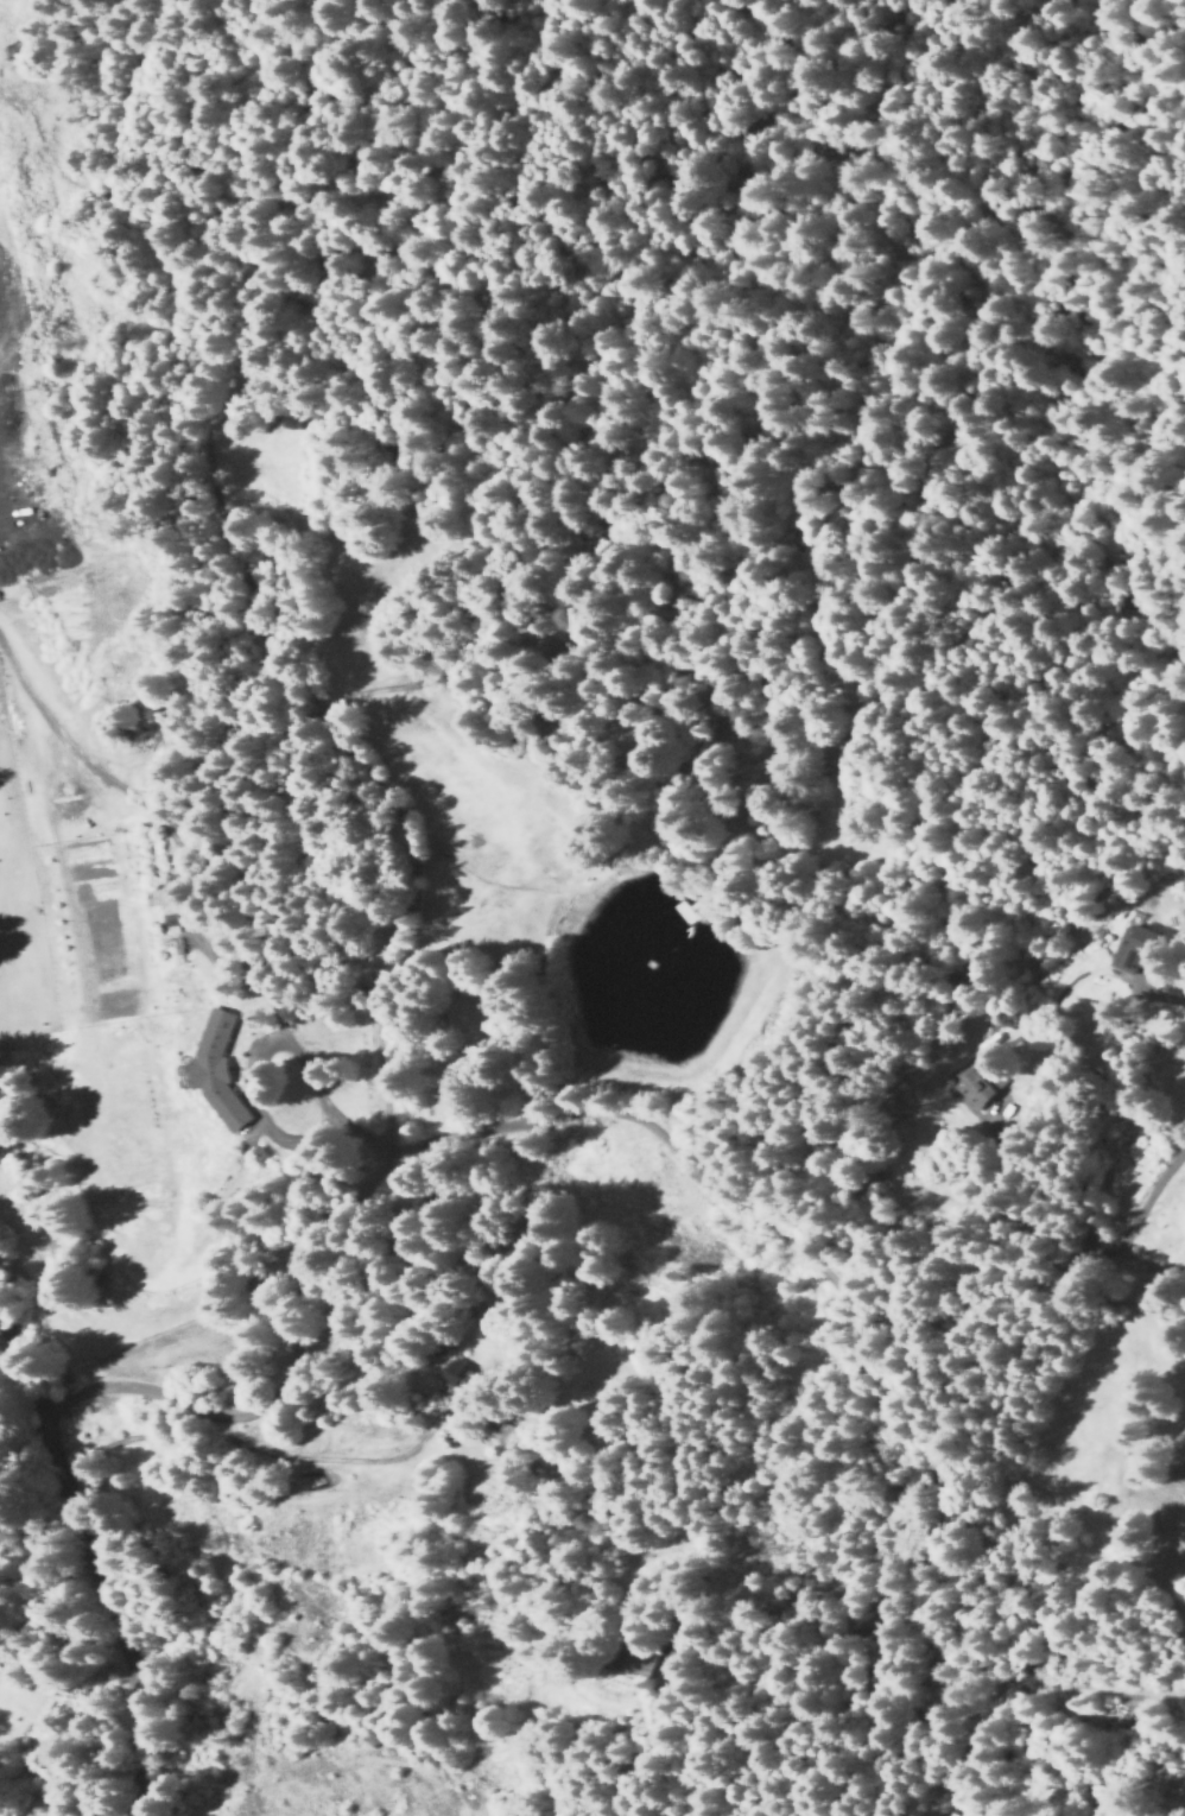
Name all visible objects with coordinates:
road: (413, 803)
building: (171, 919)
building: (1143, 941)
building: (991, 1042)
building: (217, 1071)
building: (986, 1086)
building: (267, 1150)
building: (451, 1374)
building: (468, 1377)
building: (517, 1460)
road: (94, 1562)
building: (685, 1650)
building: (642, 1663)
road: (1027, 1697)
building: (1168, 1777)

